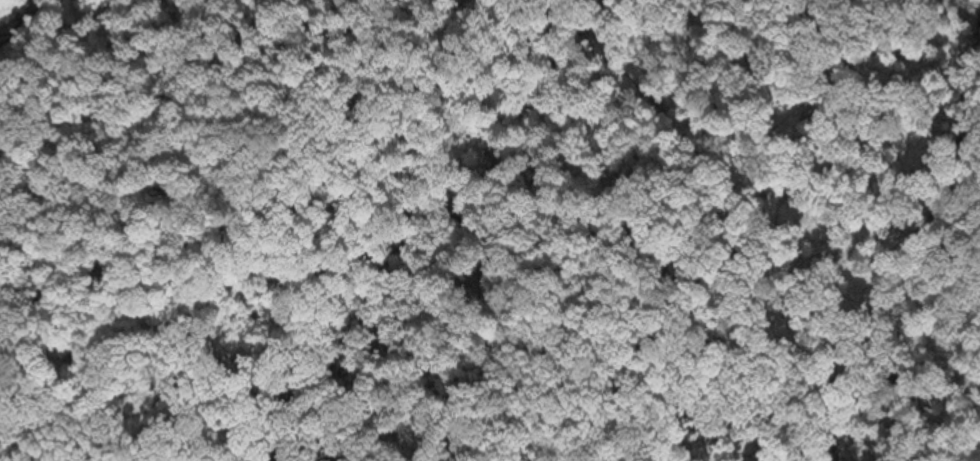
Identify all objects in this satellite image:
road: (309, 135)
road: (500, 336)

